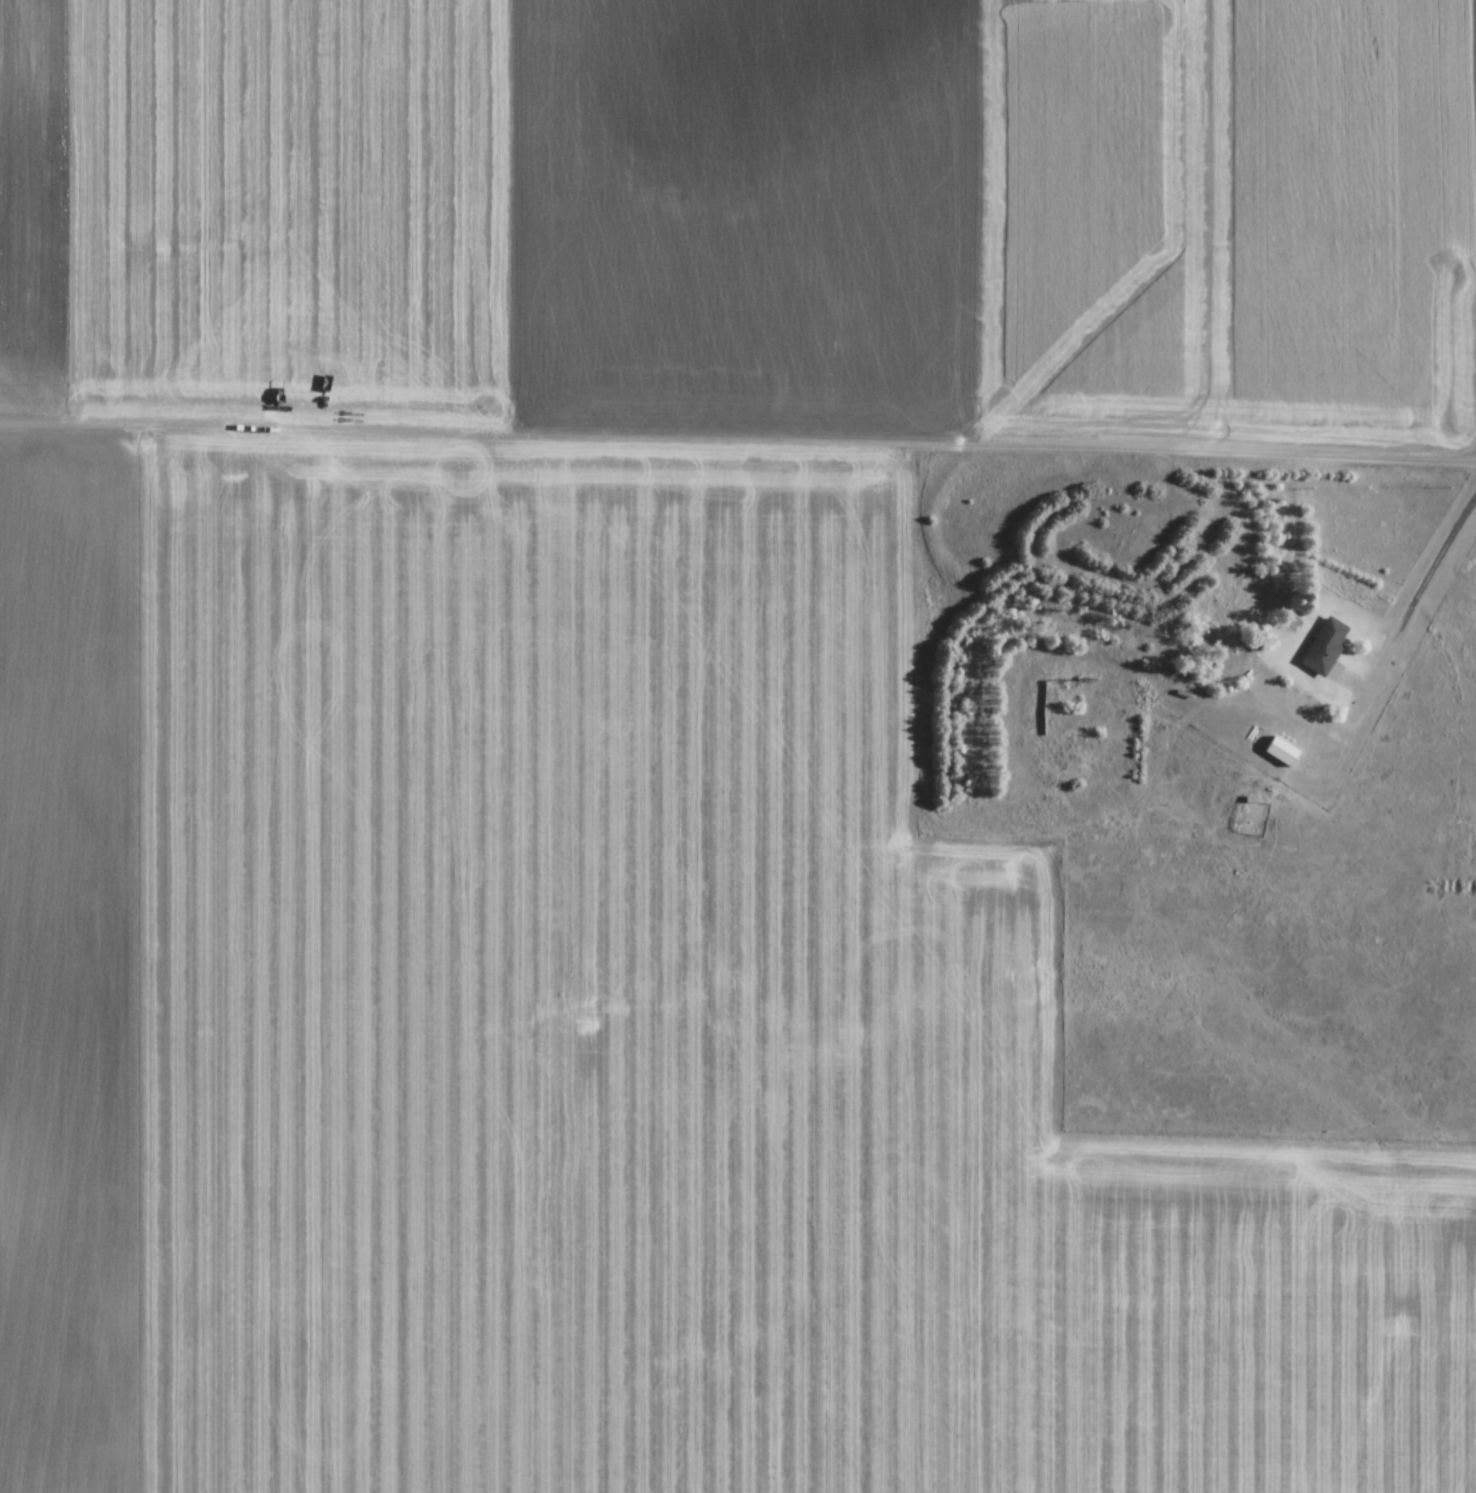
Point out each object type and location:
road: (738, 465)
road: (1412, 601)
building: (1324, 645)
building: (1281, 750)

